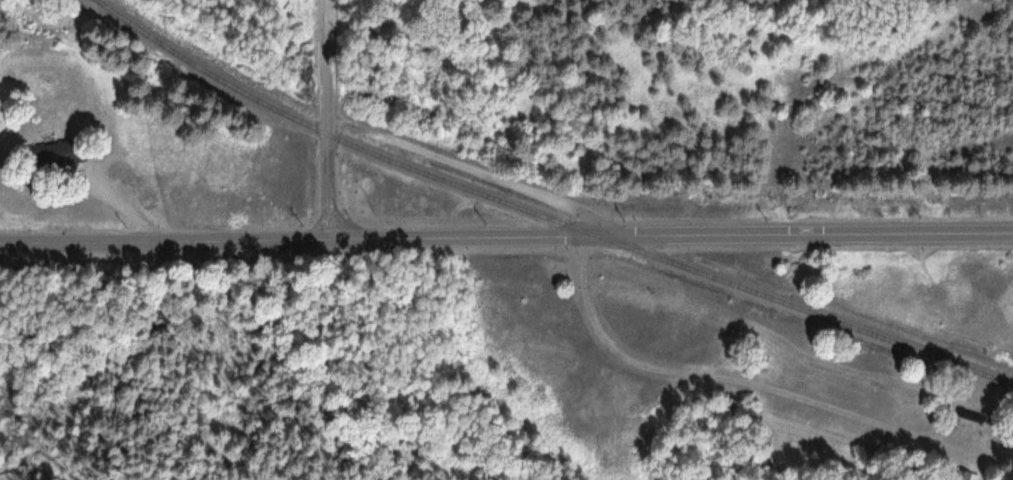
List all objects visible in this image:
road: (327, 119)
building: (55, 153)
railway: (543, 215)
road: (672, 232)
road: (166, 240)

